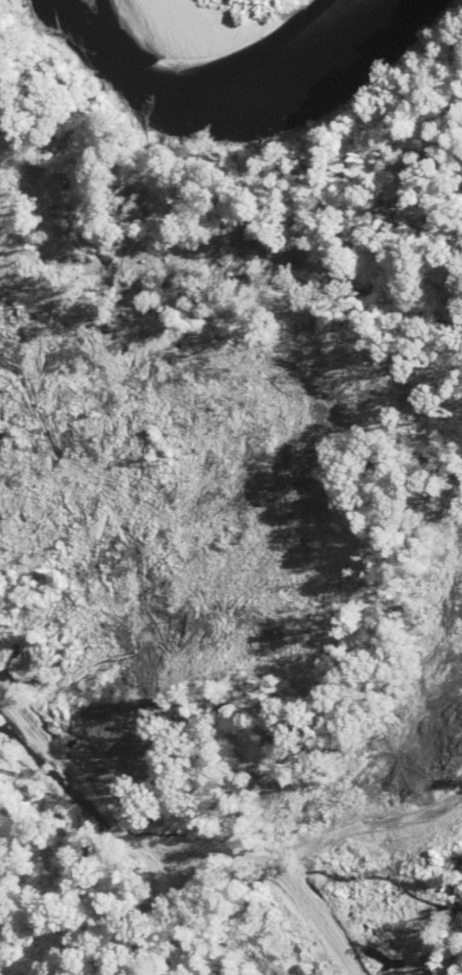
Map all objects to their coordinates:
river: (291, 44)

